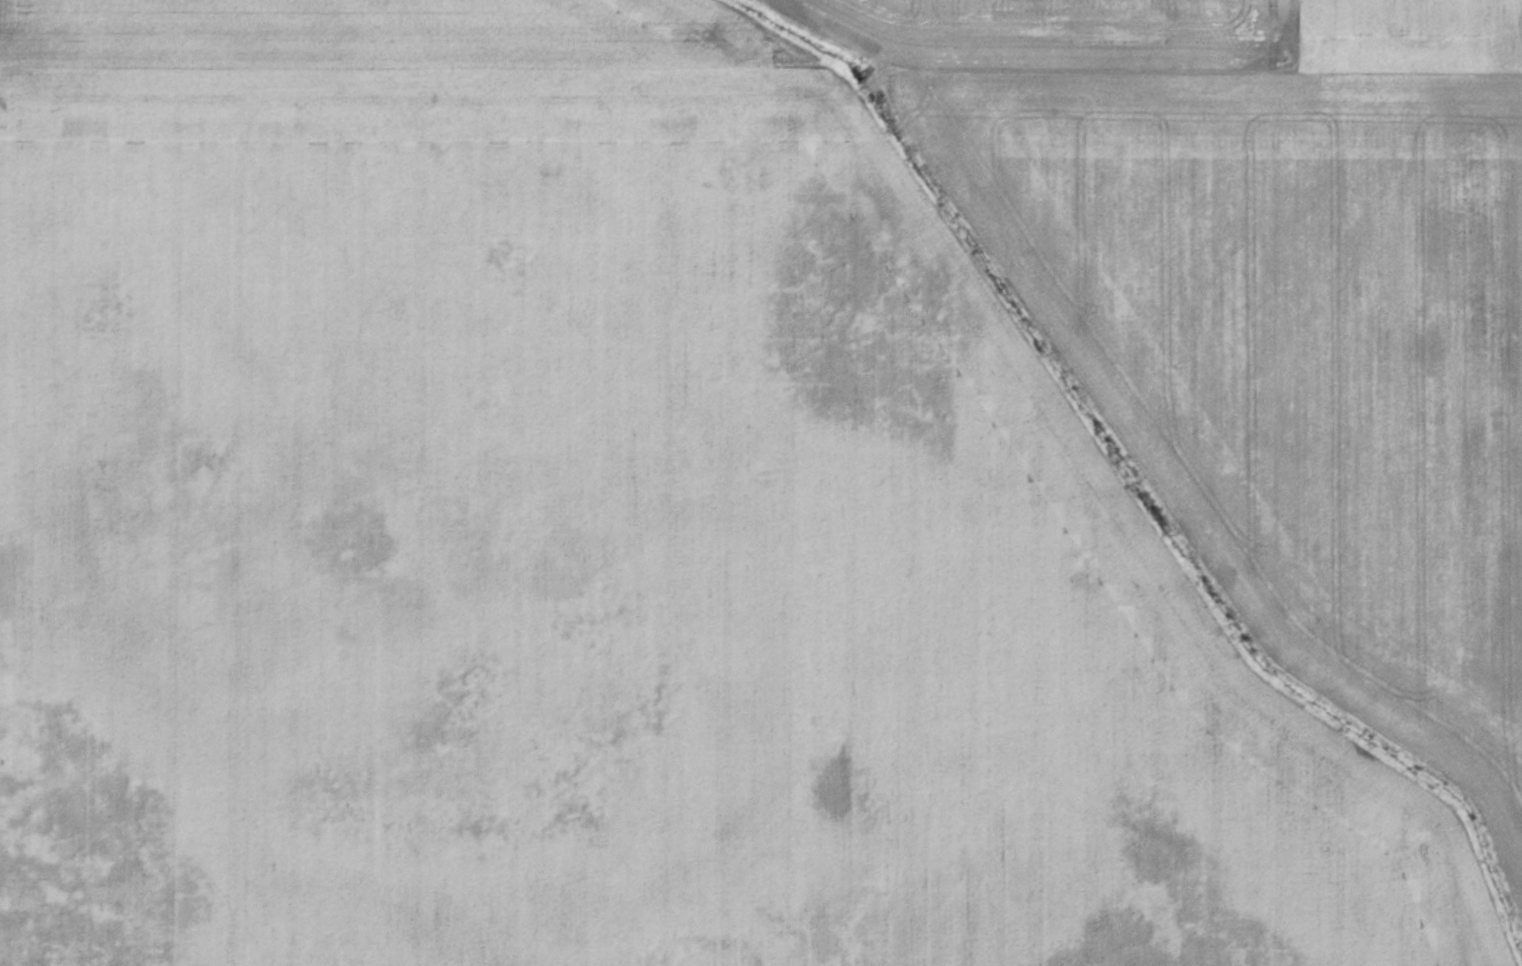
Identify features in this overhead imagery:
crop: (1277, 308)
crop: (592, 537)

